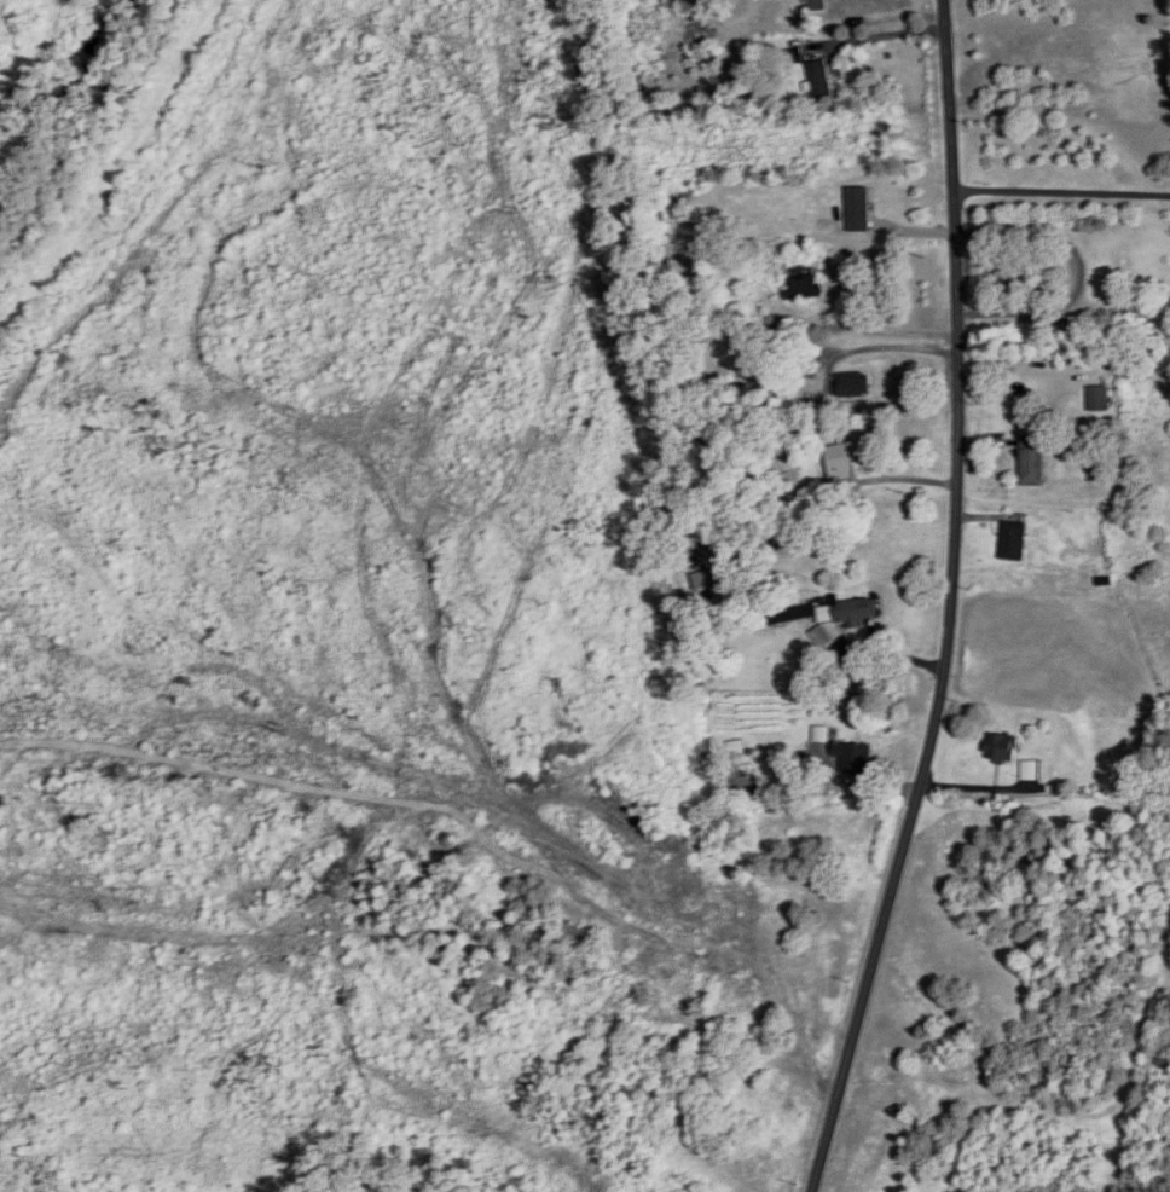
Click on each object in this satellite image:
building: (817, 5)
road: (879, 35)
building: (821, 79)
road: (1061, 190)
building: (1122, 274)
building: (806, 282)
road: (958, 380)
building: (851, 386)
building: (1099, 399)
building: (847, 461)
building: (1032, 462)
building: (1014, 542)
building: (829, 613)
building: (823, 636)
building: (1001, 747)
building: (855, 757)
building: (1030, 769)
road: (869, 974)

